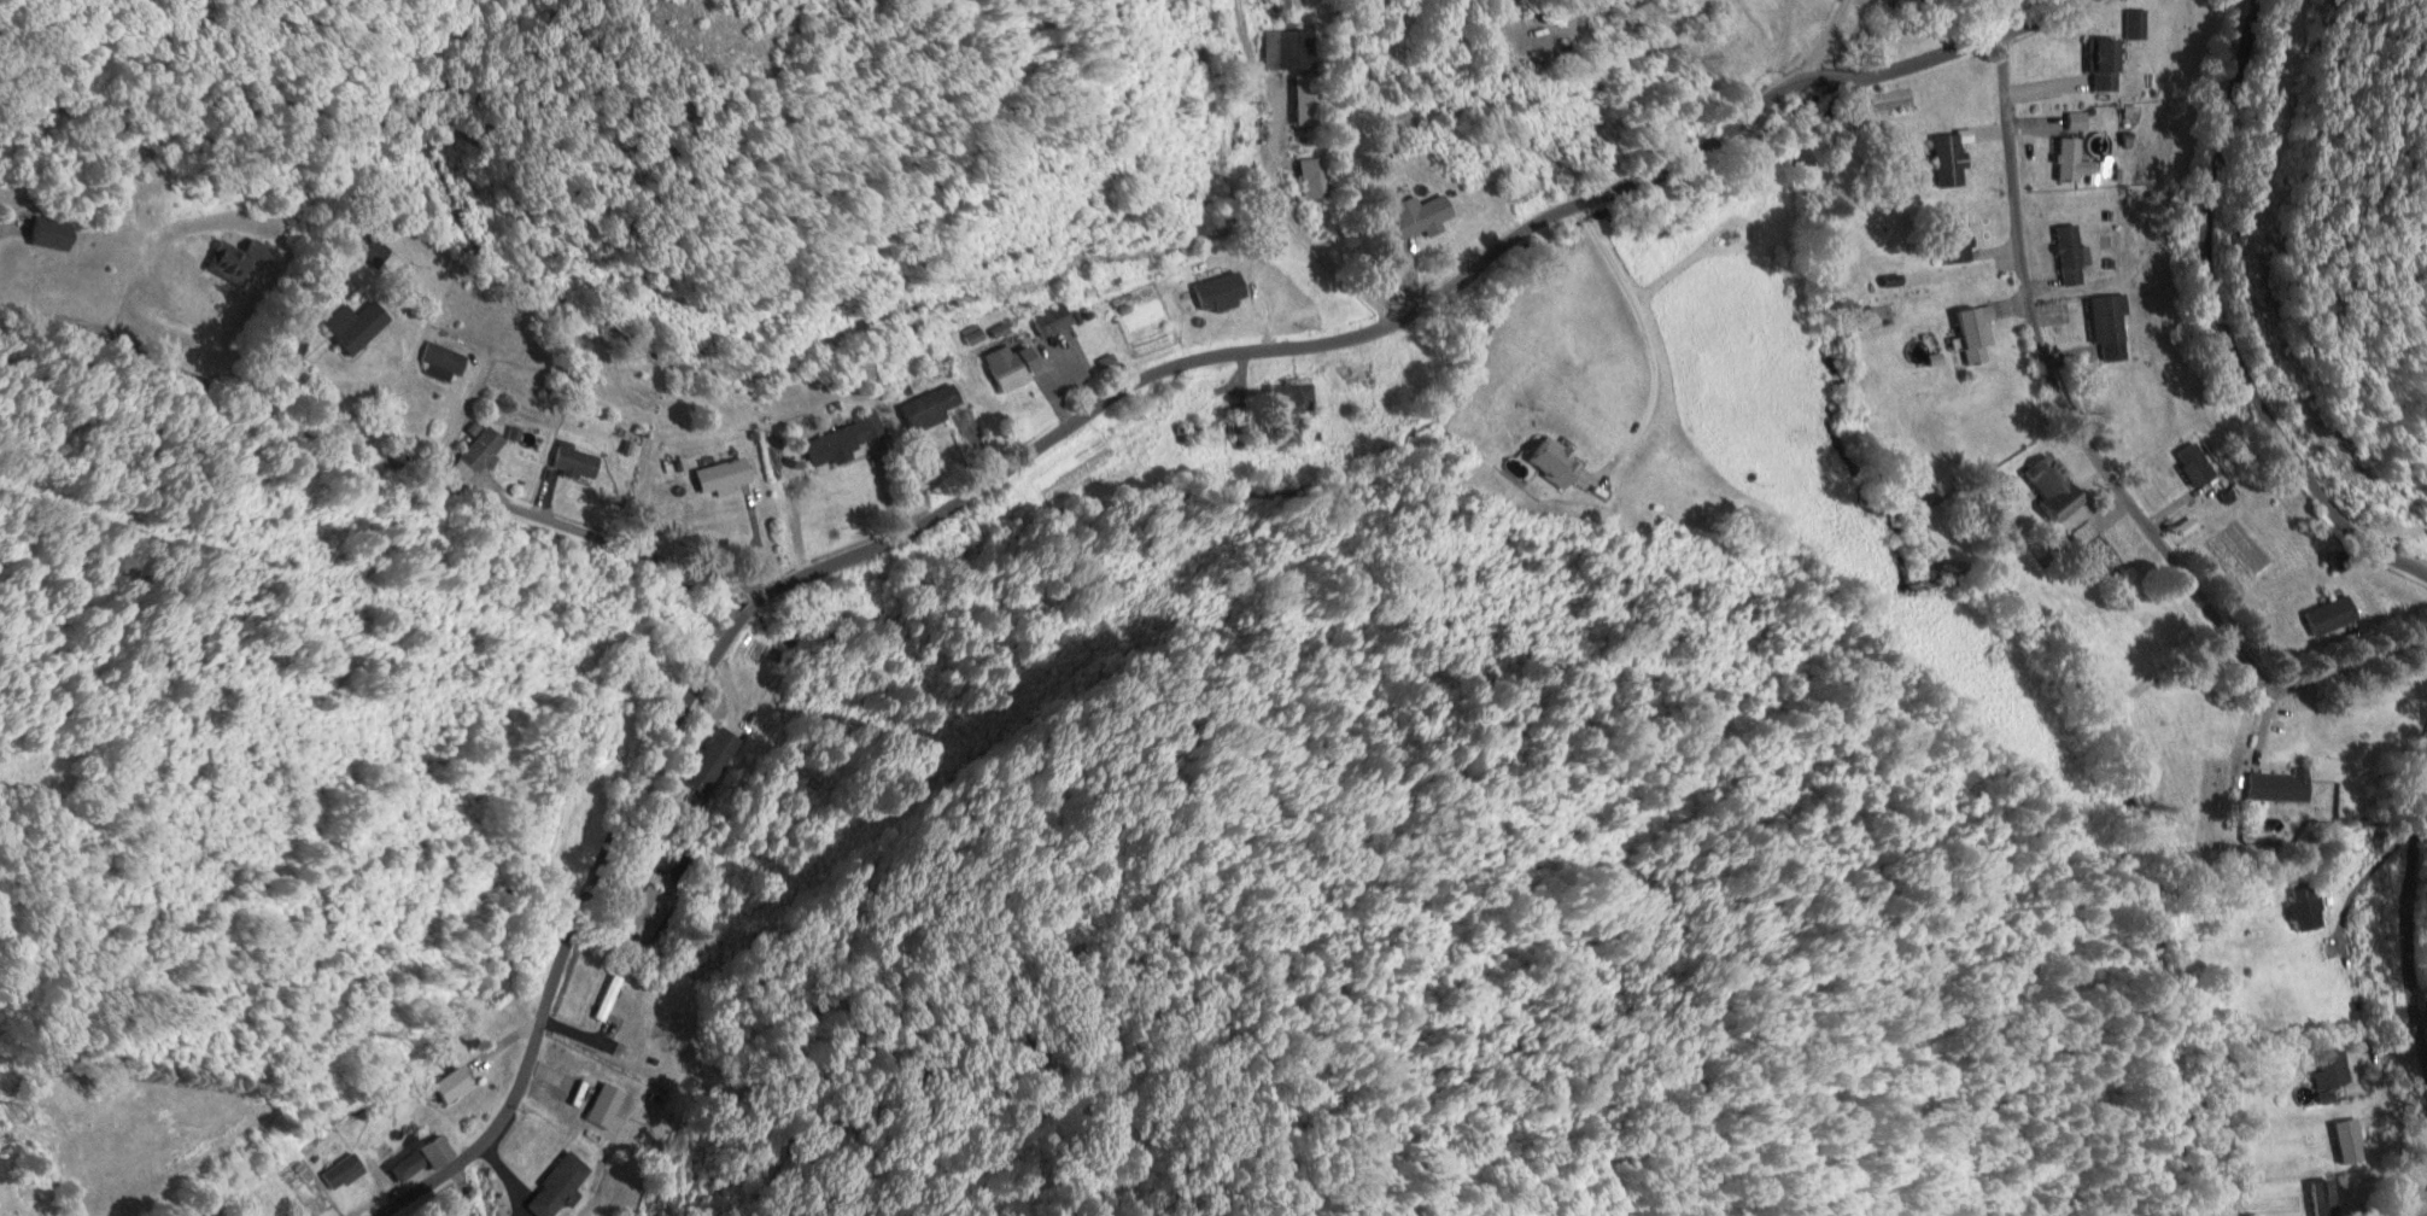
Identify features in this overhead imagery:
building: (2137, 25)
building: (1288, 49)
building: (2106, 65)
building: (1310, 101)
building: (2078, 121)
building: (1952, 160)
building: (2075, 160)
building: (1315, 180)
building: (1422, 216)
building: (54, 234)
building: (1958, 239)
building: (374, 250)
building: (2072, 253)
building: (239, 263)
building: (1871, 317)
building: (1054, 320)
building: (358, 325)
road: (2224, 325)
building: (2111, 327)
building: (1978, 332)
building: (445, 358)
building: (1016, 366)
building: (1361, 378)
building: (1296, 397)
building: (932, 407)
road: (1081, 416)
building: (1241, 419)
building: (843, 439)
building: (485, 449)
road: (376, 456)
building: (580, 460)
building: (1557, 461)
road: (2100, 463)
building: (2197, 464)
building: (725, 474)
building: (2055, 486)
road: (2384, 525)
building: (2105, 559)
building: (2333, 615)
building: (712, 760)
building: (2281, 787)
building: (2306, 908)
building: (649, 911)
road: (2413, 924)
building: (609, 998)
building: (2333, 1069)
building: (454, 1085)
building: (2351, 1141)
building: (423, 1158)
building: (561, 1186)
building: (2326, 1198)
building: (2400, 1214)

